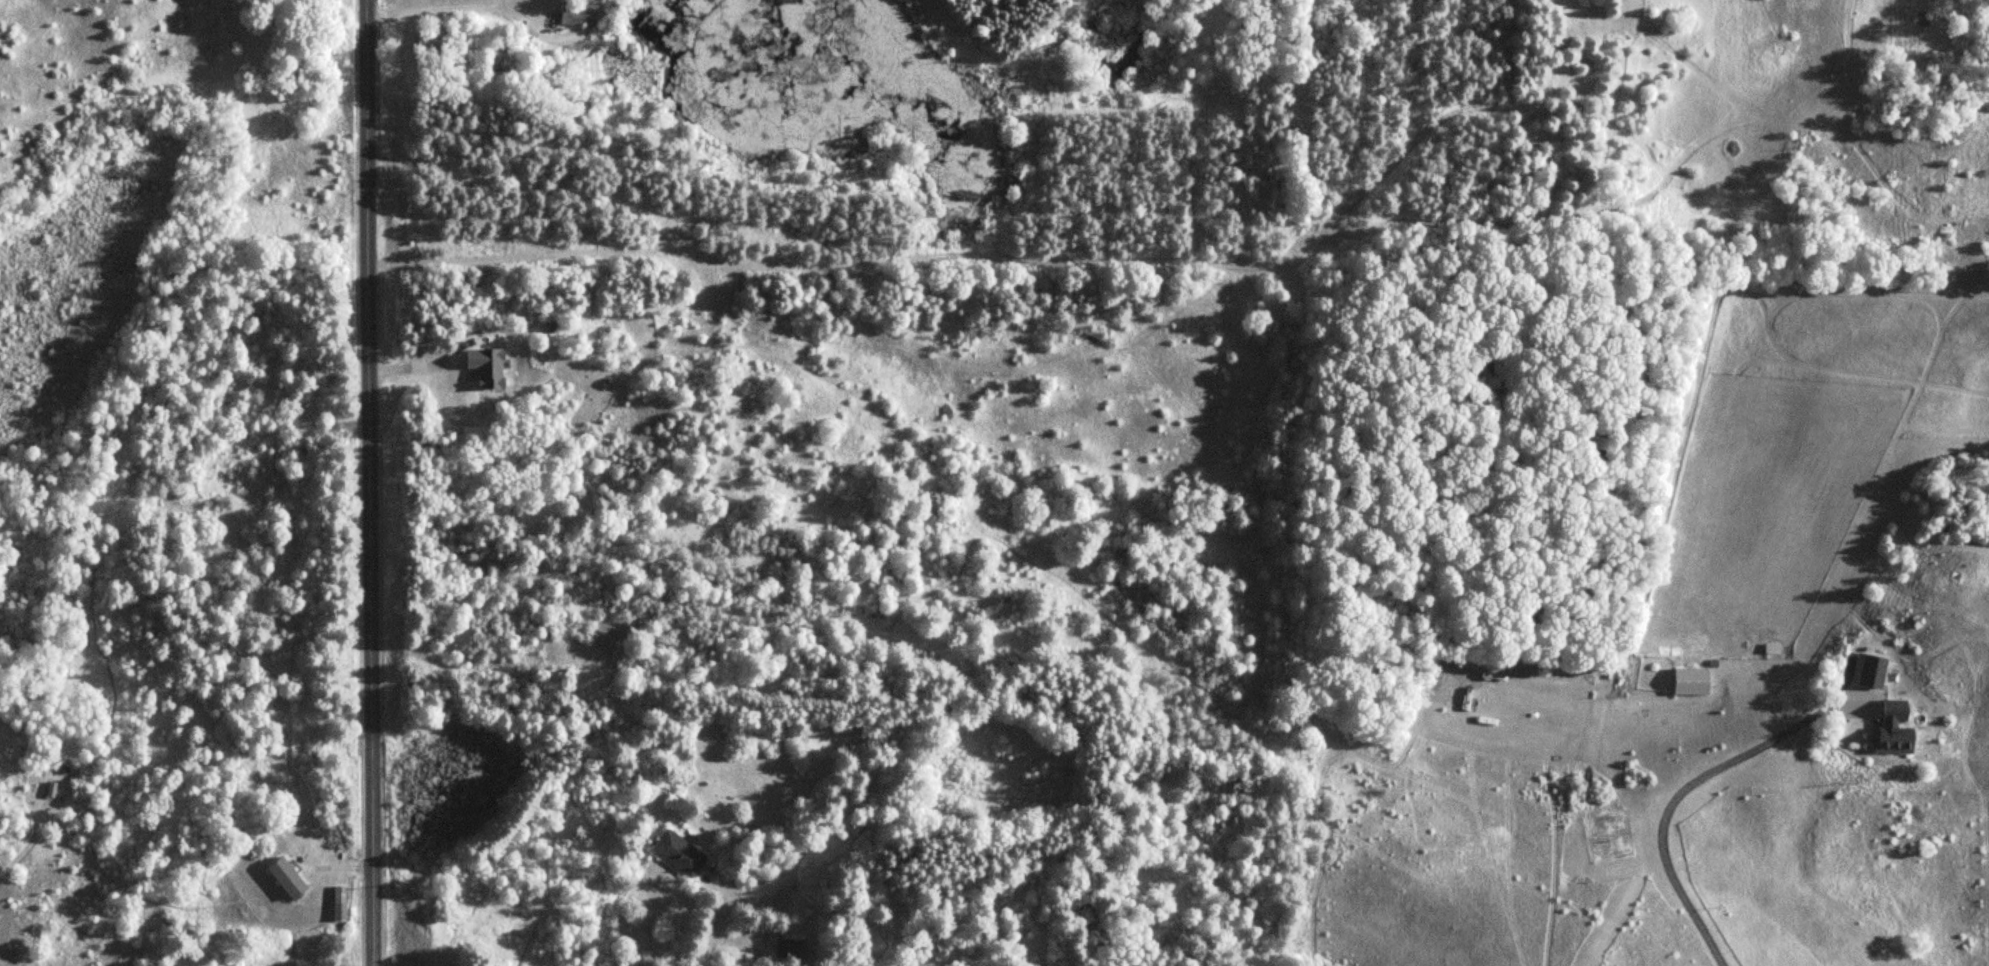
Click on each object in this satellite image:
building: (579, 12)
building: (489, 364)
road: (371, 482)
building: (1871, 669)
building: (1694, 680)
building: (1895, 728)
road: (1690, 785)
building: (681, 853)
road: (714, 877)
building: (289, 878)
building: (341, 903)
road: (715, 925)
building: (790, 947)

